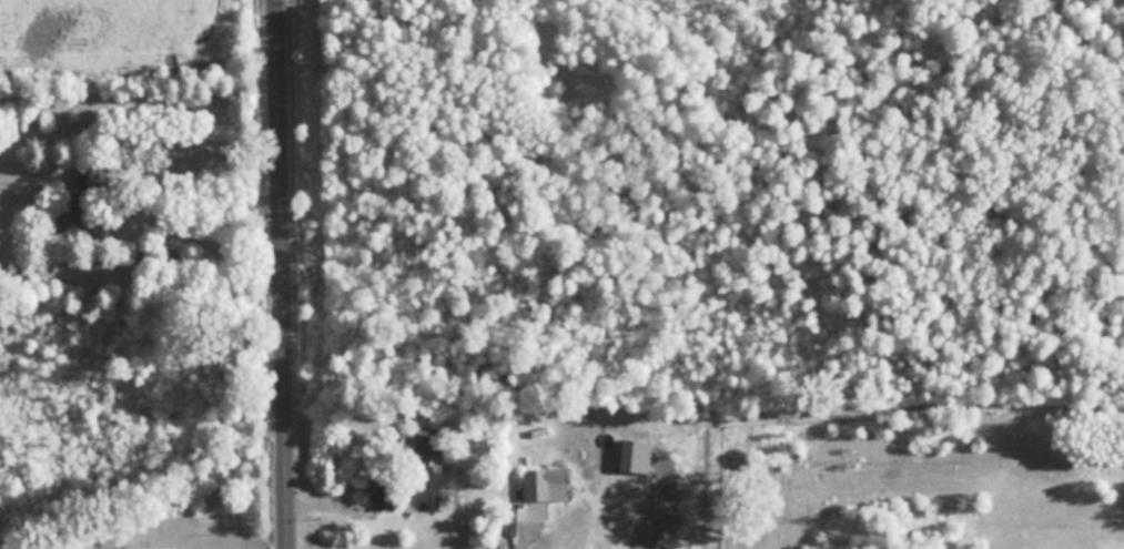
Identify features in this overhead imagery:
building: (82, 192)
road: (280, 274)
building: (681, 426)
building: (427, 448)
building: (536, 485)
building: (382, 496)
building: (149, 548)

